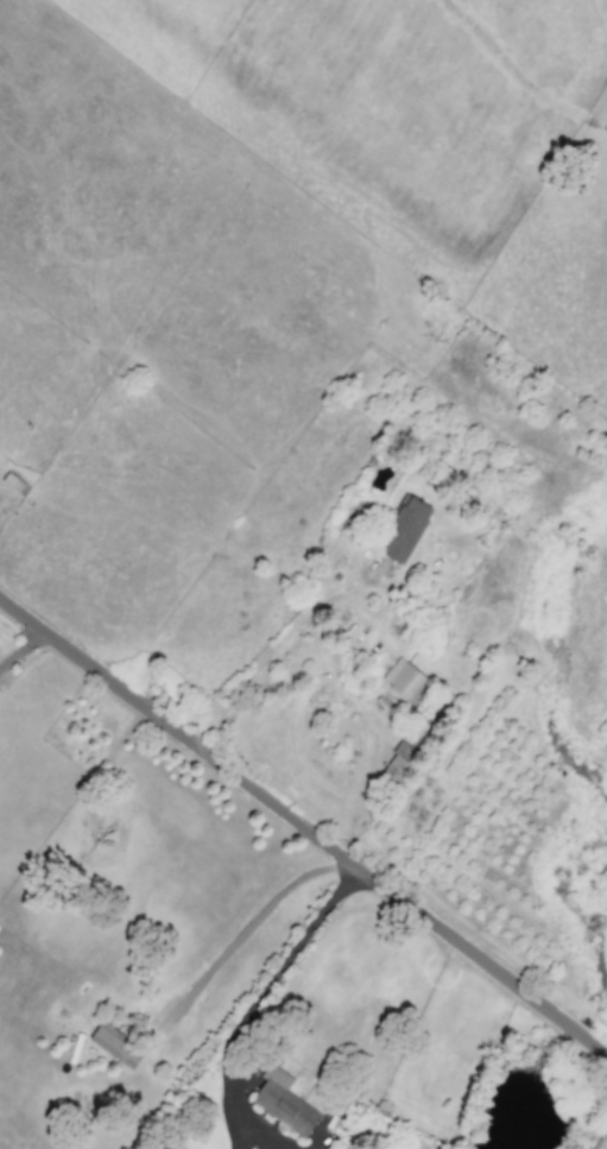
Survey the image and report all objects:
building: (405, 529)
road: (19, 648)
road: (273, 654)
building: (404, 680)
road: (372, 730)
building: (398, 764)
road: (303, 828)
road: (249, 923)
road: (252, 1008)
building: (116, 1046)
building: (283, 1103)

